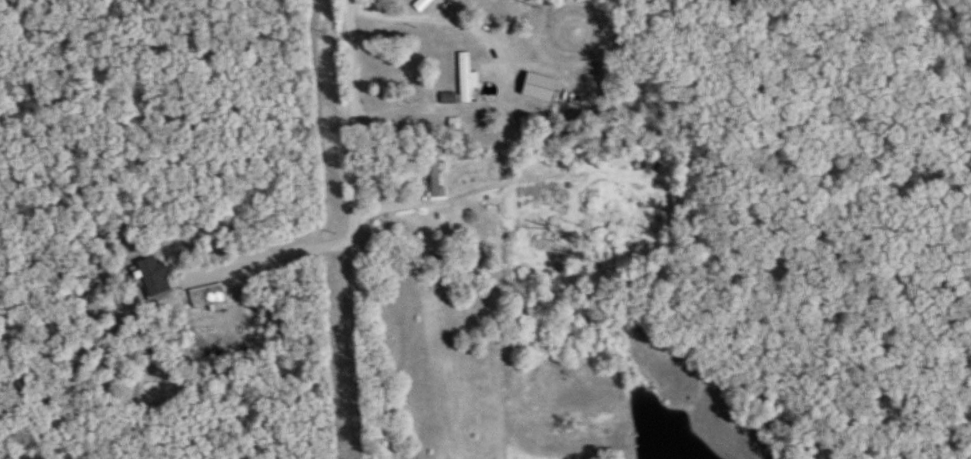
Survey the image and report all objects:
building: (421, 4)
building: (538, 87)
building: (454, 105)
building: (648, 162)
building: (435, 178)
road: (500, 186)
road: (356, 230)
building: (154, 277)
road: (160, 293)
building: (207, 298)

